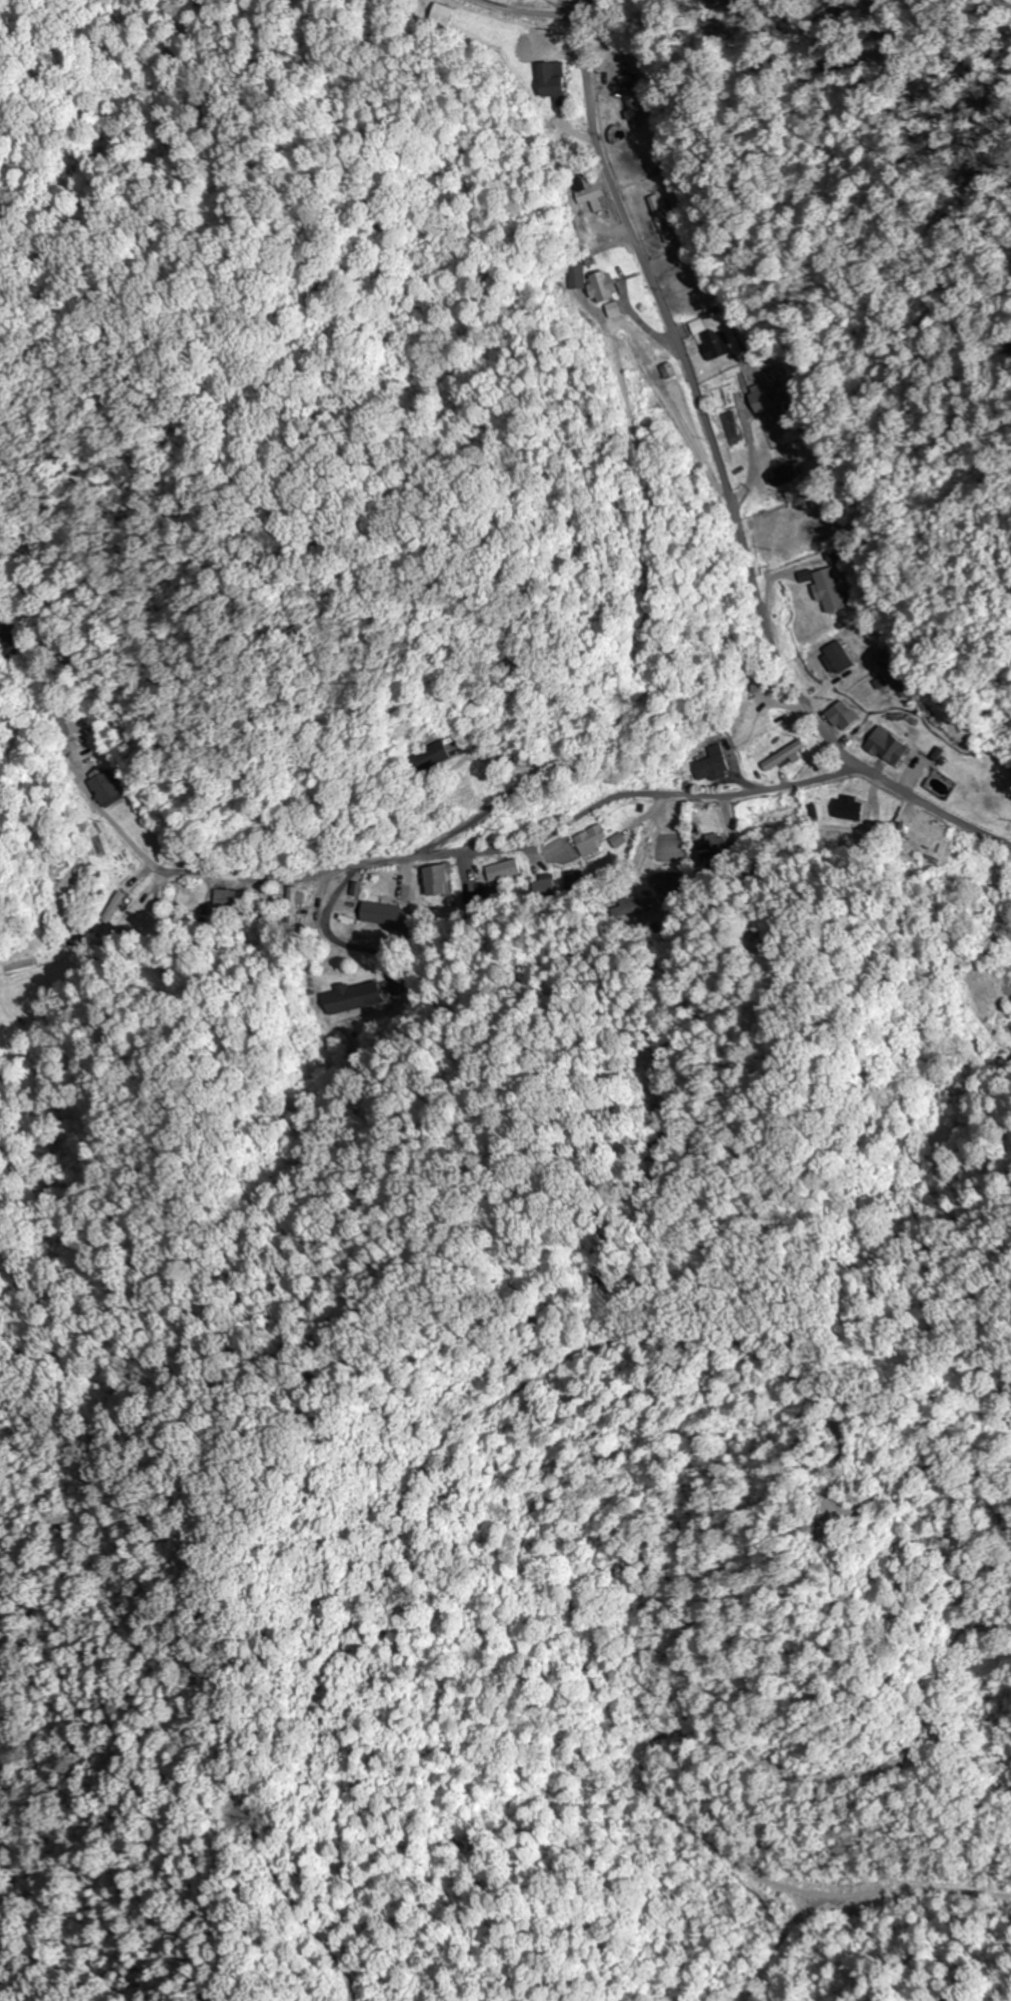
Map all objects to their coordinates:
road: (498, 8)
building: (439, 17)
building: (589, 199)
building: (658, 220)
building: (605, 287)
road: (716, 463)
building: (814, 530)
building: (829, 592)
building: (844, 715)
building: (889, 747)
building: (783, 756)
building: (713, 764)
building: (594, 841)
road: (506, 846)
building: (708, 846)
building: (673, 855)
building: (503, 871)
building: (439, 881)
building: (540, 888)
building: (223, 898)
building: (293, 909)
road: (689, 1093)

